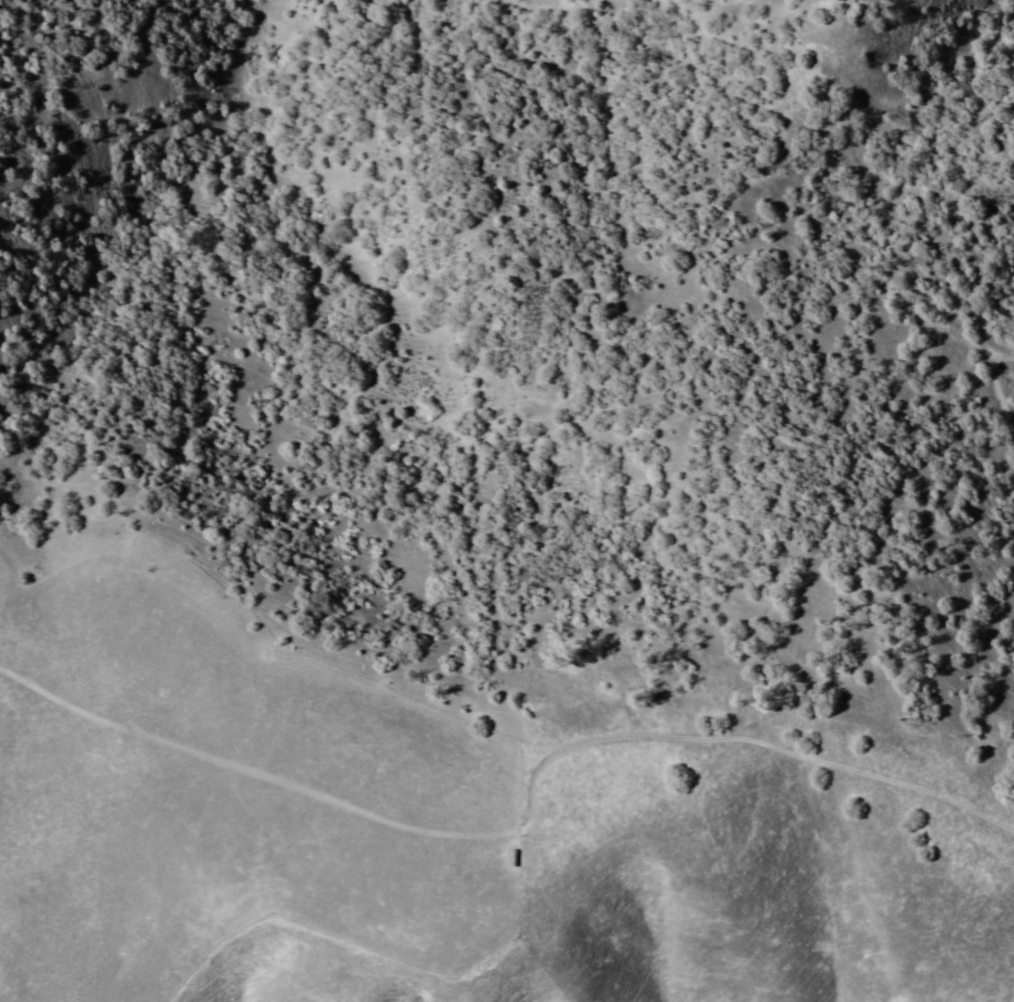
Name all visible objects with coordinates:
road: (997, 395)
road: (749, 739)

